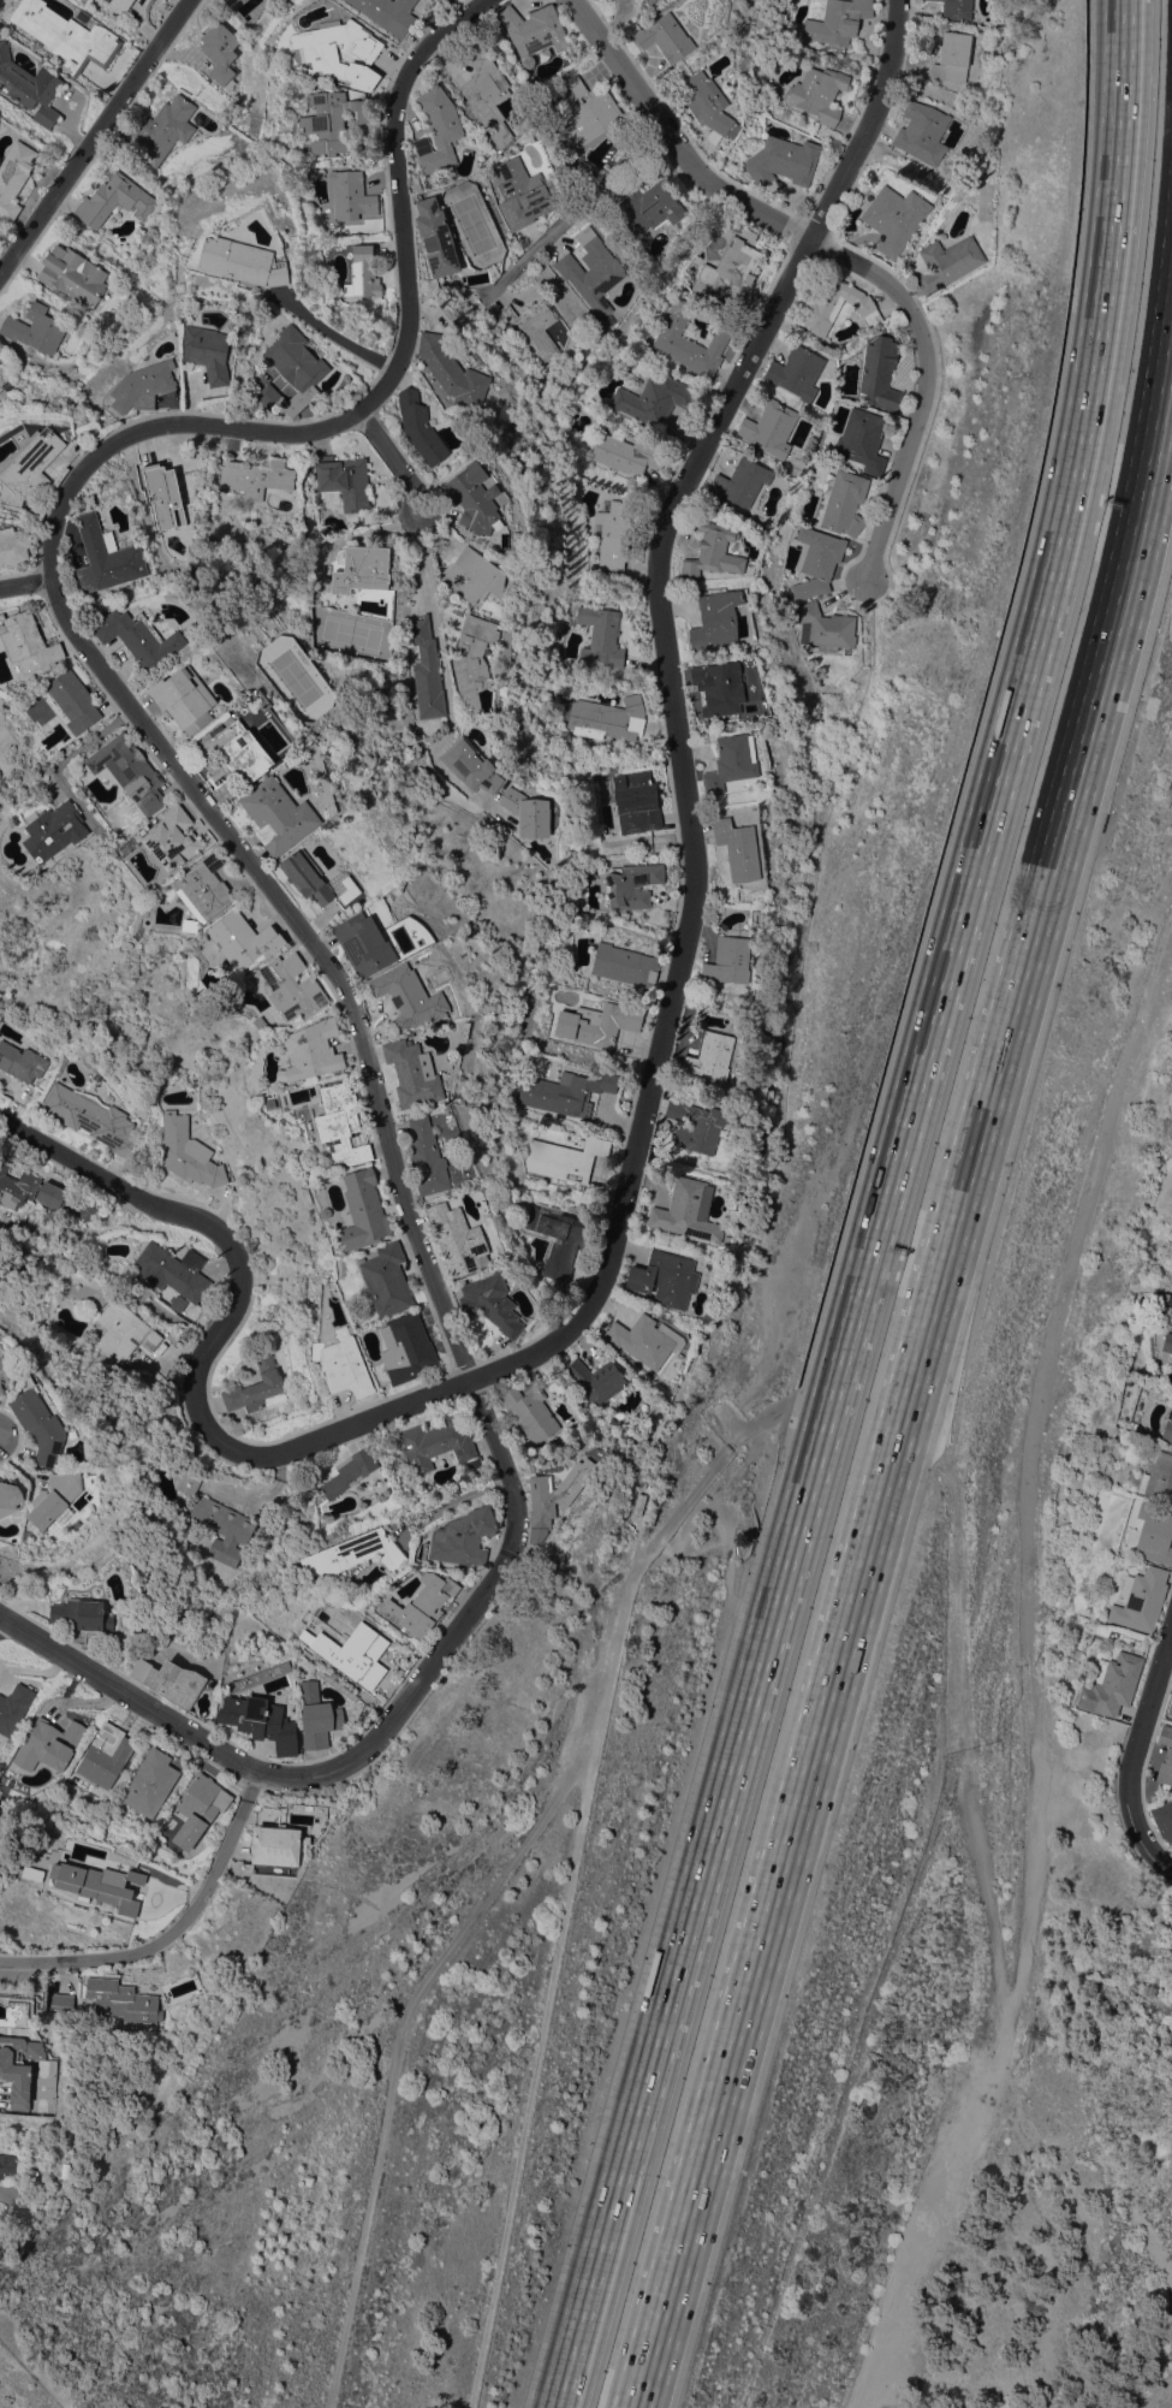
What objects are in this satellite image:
building: (450, 0)
building: (452, 0)
building: (608, 0)
building: (649, 1)
building: (118, 5)
building: (957, 8)
building: (388, 13)
building: (837, 22)
building: (533, 29)
building: (67, 36)
building: (666, 37)
building: (221, 53)
building: (319, 55)
building: (952, 58)
building: (751, 69)
building: (29, 85)
building: (487, 93)
building: (819, 93)
building: (704, 105)
building: (587, 113)
building: (334, 119)
building: (438, 129)
building: (162, 130)
building: (922, 132)
road: (93, 135)
building: (504, 154)
building: (783, 160)
building: (583, 165)
building: (14, 177)
building: (351, 194)
building: (522, 194)
building: (114, 201)
building: (649, 207)
road: (575, 213)
building: (892, 218)
building: (436, 238)
road: (838, 255)
building: (243, 261)
building: (948, 261)
building: (591, 269)
building: (730, 272)
building: (362, 273)
building: (72, 274)
road: (1106, 285)
building: (837, 304)
building: (35, 328)
road: (332, 330)
building: (529, 331)
building: (690, 342)
building: (208, 352)
building: (2, 369)
building: (292, 370)
building: (452, 372)
building: (796, 372)
building: (880, 373)
building: (143, 386)
building: (655, 398)
road: (1152, 411)
building: (769, 427)
building: (424, 432)
building: (863, 440)
building: (626, 452)
road: (395, 462)
building: (29, 468)
building: (255, 476)
building: (344, 480)
building: (743, 481)
building: (163, 496)
building: (474, 499)
building: (844, 502)
road: (420, 530)
building: (614, 538)
building: (14, 546)
building: (713, 548)
building: (108, 557)
building: (816, 562)
building: (362, 569)
building: (475, 575)
road: (25, 579)
road: (59, 598)
building: (716, 619)
building: (827, 627)
building: (141, 636)
building: (600, 636)
building: (29, 641)
building: (474, 660)
building: (427, 670)
road: (445, 686)
building: (719, 687)
building: (186, 699)
building: (76, 701)
road: (676, 707)
building: (607, 718)
building: (236, 757)
building: (732, 761)
building: (470, 766)
building: (132, 771)
building: (637, 797)
building: (528, 812)
building: (279, 814)
building: (56, 830)
building: (174, 838)
building: (738, 848)
building: (590, 871)
building: (307, 876)
building: (632, 884)
building: (204, 888)
building: (191, 924)
building: (244, 939)
building: (364, 943)
building: (728, 960)
building: (625, 965)
building: (292, 987)
building: (207, 996)
building: (412, 996)
building: (261, 1022)
building: (599, 1022)
building: (314, 1049)
building: (710, 1057)
building: (20, 1062)
building: (412, 1073)
building: (566, 1091)
building: (87, 1114)
building: (343, 1125)
building: (697, 1126)
building: (188, 1152)
building: (427, 1157)
building: (564, 1158)
building: (37, 1194)
building: (363, 1210)
building: (688, 1210)
building: (458, 1239)
building: (558, 1239)
building: (173, 1270)
building: (387, 1279)
building: (665, 1279)
building: (492, 1301)
building: (1165, 1309)
building: (124, 1331)
road: (214, 1339)
building: (646, 1340)
building: (1167, 1342)
building: (406, 1347)
road: (841, 1363)
building: (345, 1365)
building: (5, 1369)
building: (596, 1380)
building: (258, 1387)
building: (530, 1411)
building: (40, 1425)
building: (1167, 1427)
building: (436, 1443)
building: (350, 1471)
road: (876, 1476)
building: (1159, 1478)
building: (405, 1489)
building: (555, 1493)
building: (10, 1497)
building: (55, 1499)
road: (451, 1501)
building: (639, 1505)
building: (216, 1522)
building: (1155, 1535)
building: (463, 1537)
building: (355, 1553)
building: (338, 1577)
building: (1141, 1599)
building: (422, 1605)
building: (82, 1613)
building: (361, 1655)
building: (287, 1663)
building: (171, 1680)
building: (1111, 1683)
building: (13, 1708)
building: (1170, 1709)
building: (317, 1715)
building: (263, 1720)
building: (49, 1744)
road: (369, 1746)
road: (1131, 1752)
building: (106, 1755)
building: (1165, 1755)
building: (151, 1783)
building: (200, 1808)
building: (1077, 1810)
building: (1164, 1819)
building: (278, 1844)
building: (1171, 1849)
road: (512, 1858)
building: (32, 1873)
building: (99, 1884)
road: (173, 1932)
building: (121, 2000)
building: (61, 2001)
building: (18, 2066)
building: (7, 2164)
road: (594, 2283)

